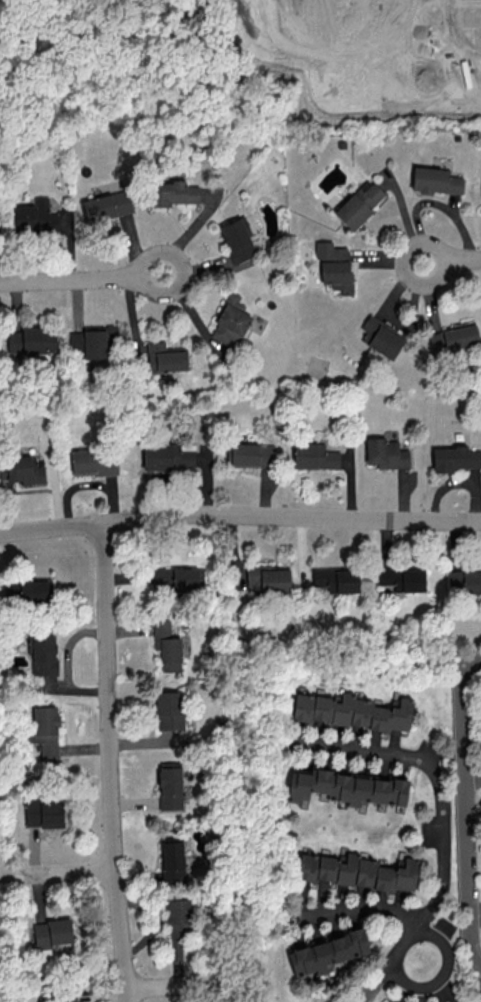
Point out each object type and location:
building: (435, 180)
building: (173, 191)
building: (359, 203)
building: (106, 205)
building: (34, 216)
building: (237, 240)
road: (452, 259)
building: (334, 266)
road: (80, 277)
building: (230, 320)
building: (381, 336)
building: (453, 336)
building: (31, 340)
building: (92, 340)
building: (164, 358)
building: (386, 453)
building: (251, 454)
building: (166, 456)
building: (314, 456)
building: (455, 458)
building: (94, 461)
building: (22, 470)
road: (240, 515)
building: (177, 577)
building: (268, 578)
building: (402, 578)
building: (336, 579)
building: (464, 582)
building: (11, 588)
building: (34, 590)
building: (167, 646)
building: (43, 653)
building: (169, 709)
building: (351, 711)
building: (44, 730)
road: (367, 755)
road: (111, 763)
road: (473, 778)
building: (170, 785)
building: (347, 787)
building: (480, 806)
road: (466, 808)
building: (44, 813)
building: (172, 860)
road: (58, 871)
building: (357, 871)
road: (437, 894)
road: (363, 908)
road: (476, 913)
building: (177, 917)
building: (51, 933)
building: (326, 952)
road: (439, 974)
road: (175, 985)
building: (67, 998)

